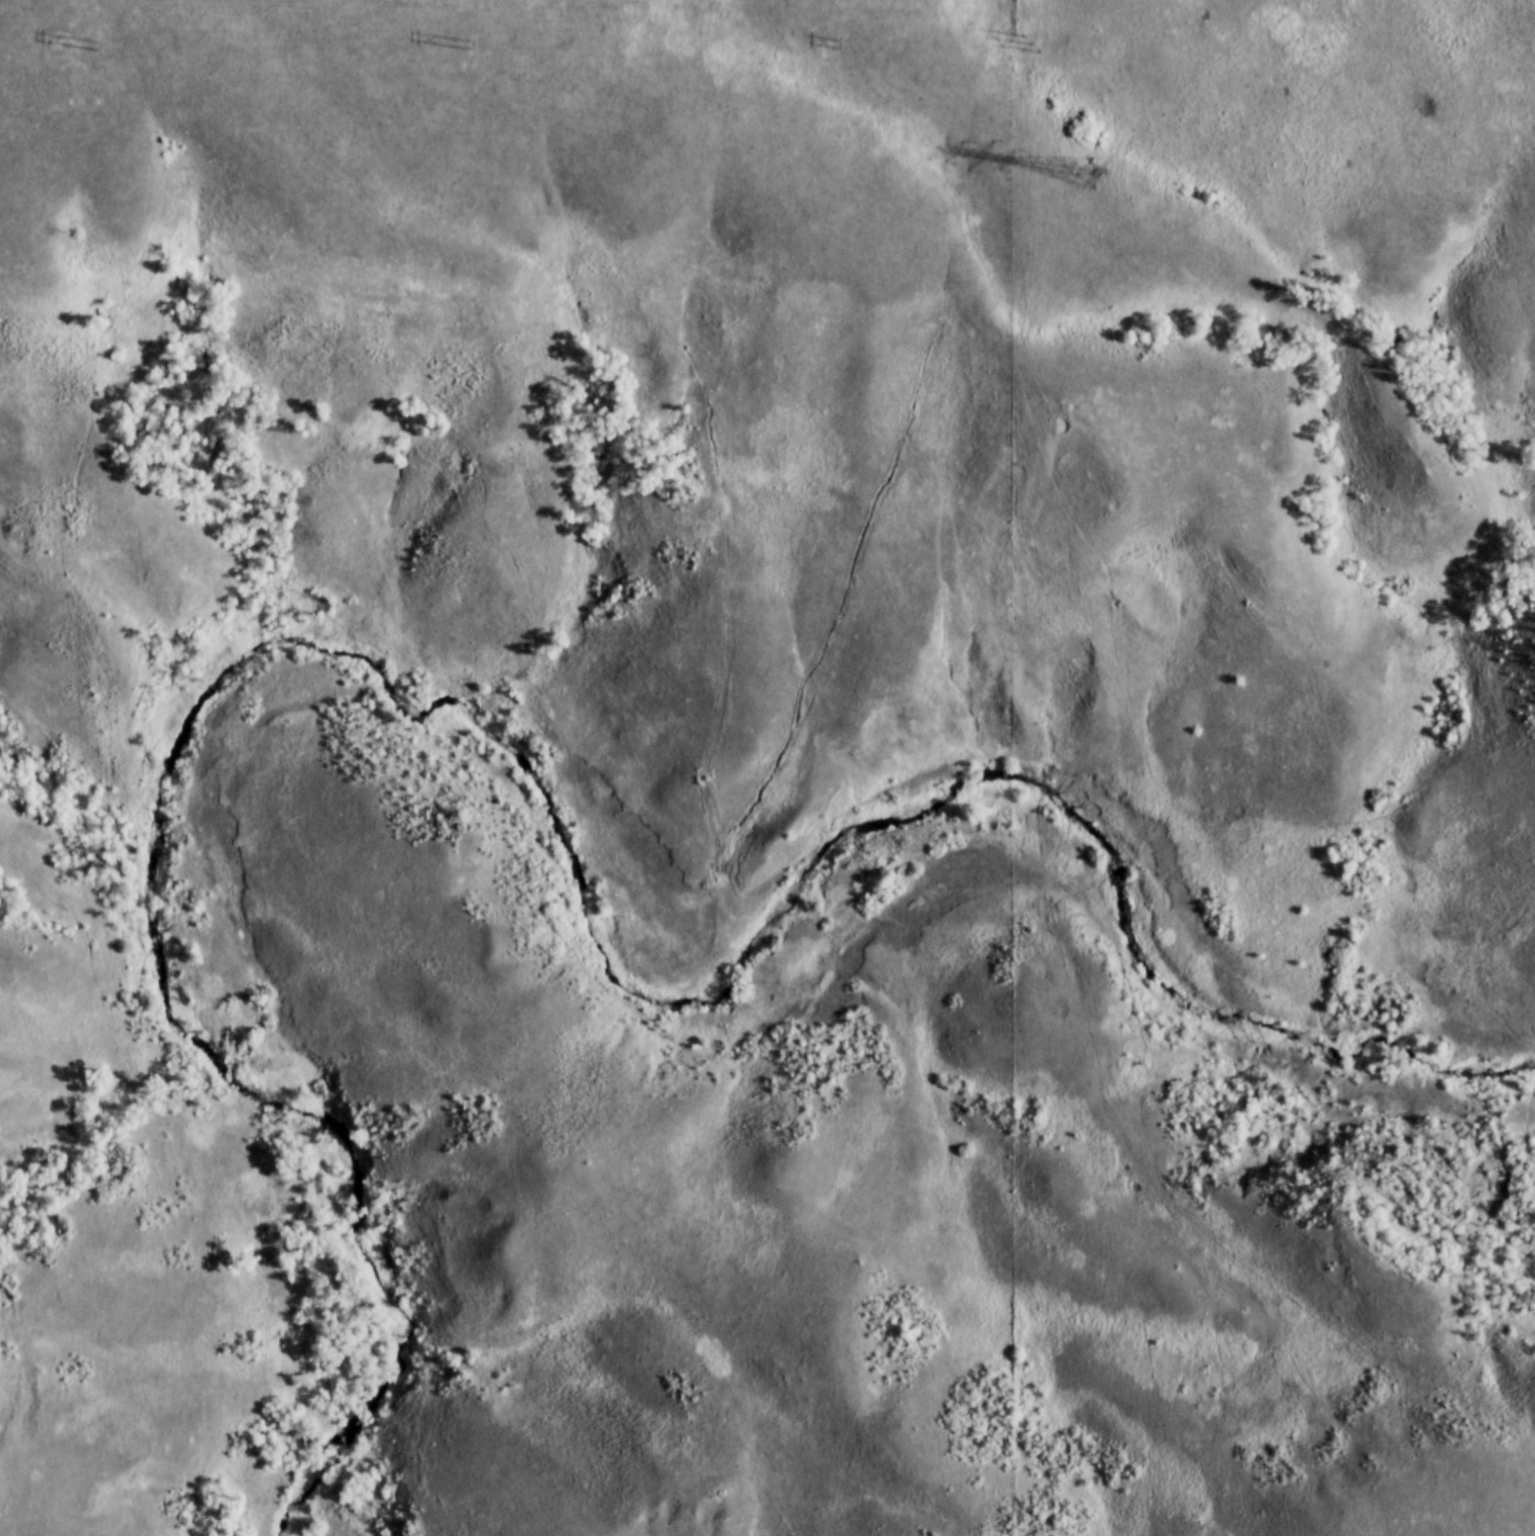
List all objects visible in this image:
power tower: (1090, 183)

